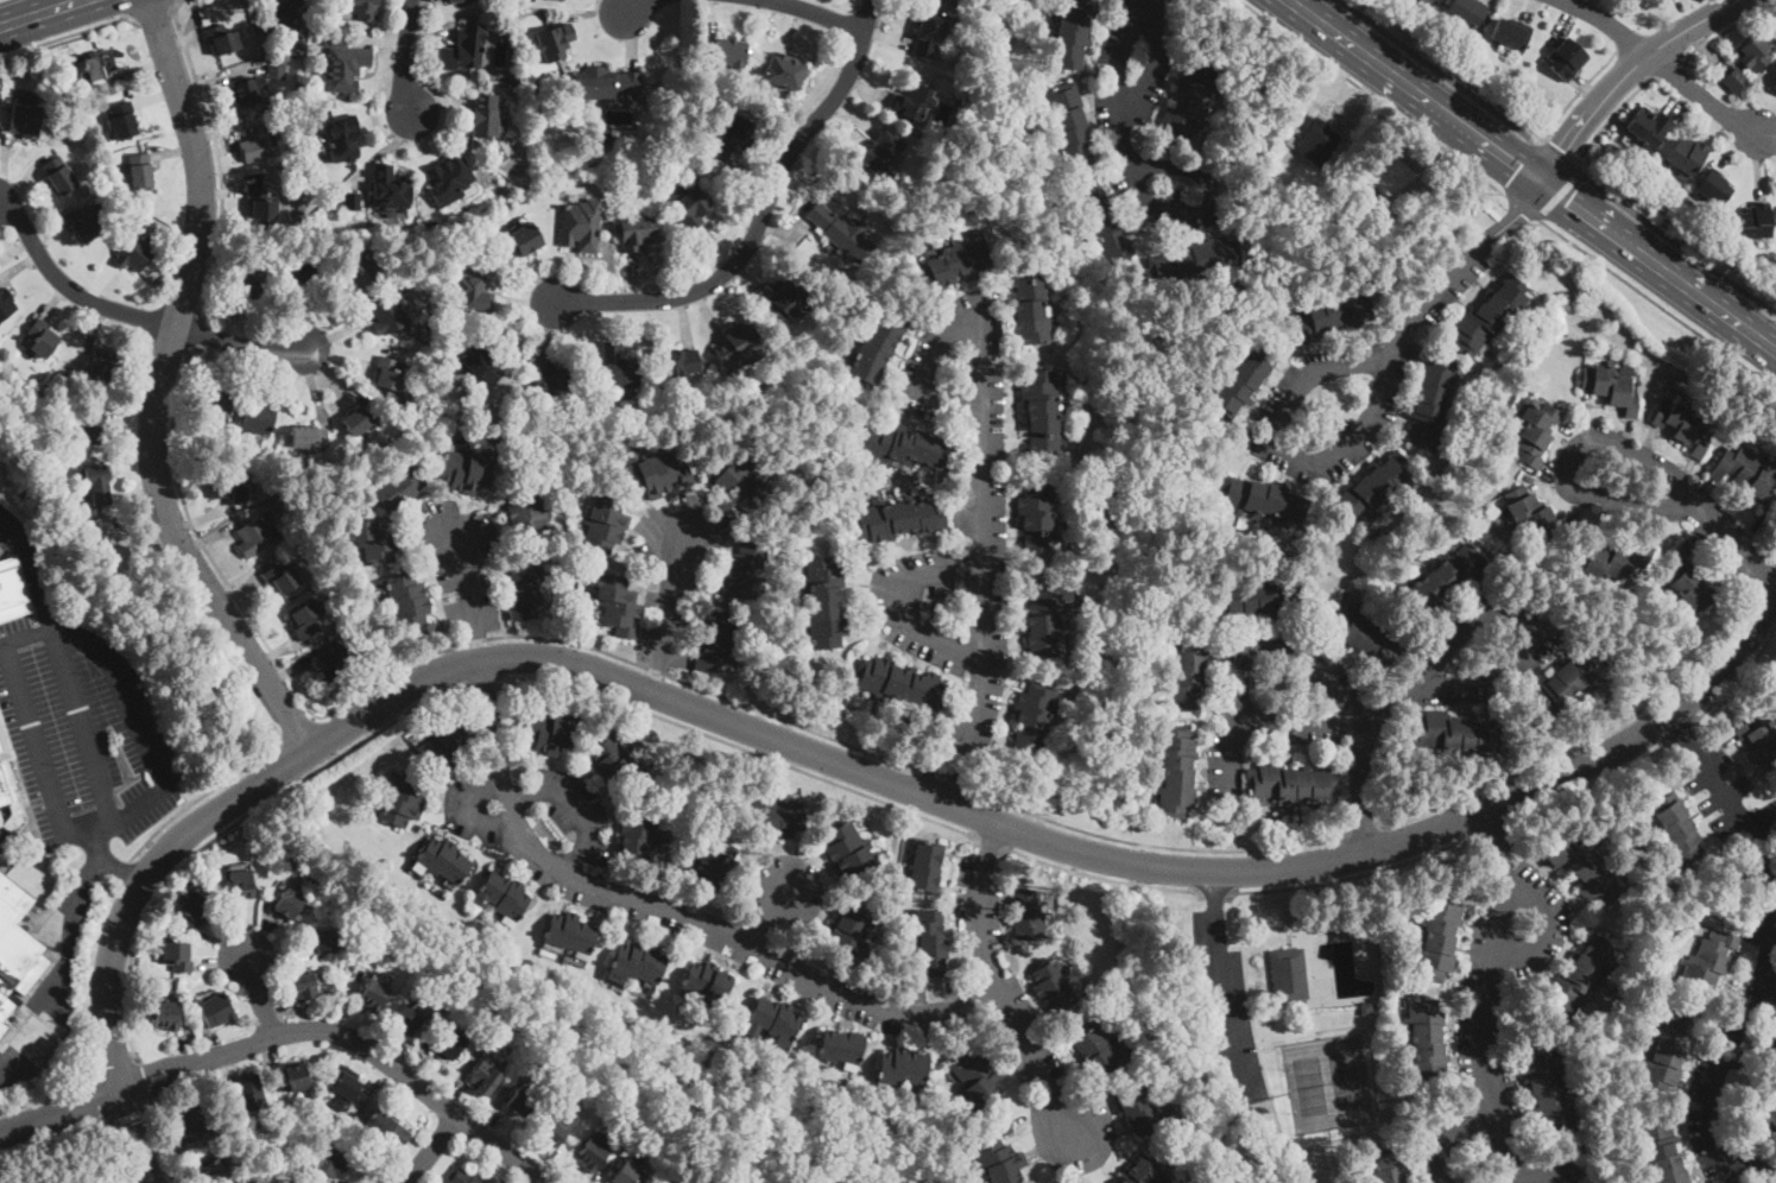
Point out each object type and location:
building: (561, 0)
building: (562, 0)
building: (1418, 0)
building: (293, 1)
building: (457, 1)
building: (1428, 1)
road: (839, 4)
road: (854, 4)
road: (636, 6)
road: (29, 7)
building: (362, 8)
road: (37, 12)
road: (819, 13)
building: (1466, 13)
road: (152, 14)
building: (277, 17)
road: (847, 24)
road: (1606, 24)
road: (1726, 26)
building: (929, 32)
building: (1073, 32)
road: (68, 33)
building: (1511, 33)
building: (222, 38)
building: (554, 39)
building: (302, 40)
building: (463, 49)
building: (722, 52)
building: (1753, 53)
road: (405, 57)
building: (1566, 59)
building: (101, 64)
building: (343, 64)
road: (1667, 67)
building: (782, 71)
road: (1440, 71)
road: (1624, 72)
building: (511, 78)
building: (1736, 80)
building: (605, 83)
building: (1774, 88)
building: (245, 94)
road: (1575, 94)
road: (1373, 95)
road: (1701, 96)
building: (912, 100)
building: (1190, 102)
building: (290, 118)
building: (486, 118)
building: (122, 119)
building: (26, 120)
road: (1605, 122)
building: (1069, 126)
building: (1649, 127)
building: (602, 128)
road: (1124, 129)
building: (343, 138)
building: (735, 138)
building: (1315, 139)
building: (520, 145)
building: (261, 146)
road: (1556, 153)
building: (881, 154)
road: (216, 156)
building: (1686, 157)
building: (1636, 163)
road: (1523, 167)
building: (139, 171)
road: (1531, 175)
building: (58, 176)
building: (613, 178)
building: (449, 181)
traffic signals: (1540, 181)
building: (678, 182)
building: (391, 188)
building: (1713, 188)
road: (1557, 196)
building: (1365, 197)
building: (352, 201)
building: (263, 204)
building: (1301, 204)
road: (1523, 205)
building: (689, 208)
road: (747, 209)
road: (761, 214)
building: (1382, 219)
road: (1510, 219)
building: (1756, 221)
building: (87, 222)
building: (1102, 222)
building: (581, 224)
building: (431, 227)
building: (637, 232)
building: (841, 232)
building: (518, 241)
road: (1676, 241)
building: (134, 253)
building: (1194, 260)
building: (955, 262)
building: (301, 270)
building: (361, 272)
building: (253, 281)
building: (473, 292)
building: (788, 301)
building: (6, 303)
road: (1656, 304)
building: (1031, 311)
road: (132, 314)
building: (388, 316)
building: (1490, 316)
building: (1329, 317)
road: (200, 334)
building: (42, 340)
building: (739, 344)
building: (877, 350)
building: (102, 362)
building: (676, 362)
building: (479, 363)
road: (925, 366)
building: (618, 367)
building: (390, 373)
building: (550, 379)
building: (1243, 380)
building: (1610, 387)
road: (157, 388)
building: (396, 399)
building: (1431, 401)
building: (217, 409)
building: (1043, 411)
building: (533, 418)
building: (259, 420)
building: (360, 420)
building: (1683, 425)
building: (91, 430)
building: (1537, 432)
building: (309, 437)
road: (1345, 445)
building: (906, 448)
building: (467, 470)
building: (655, 474)
building: (1747, 475)
building: (741, 480)
building: (97, 485)
building: (1373, 486)
building: (229, 488)
building: (399, 488)
building: (1264, 501)
building: (270, 504)
road: (1692, 505)
building: (1532, 513)
building: (529, 515)
building: (1037, 517)
building: (896, 519)
building: (605, 525)
building: (254, 537)
road: (202, 542)
building: (373, 542)
road: (1775, 553)
road: (984, 555)
building: (1611, 563)
building: (746, 567)
road: (30, 569)
road: (1763, 574)
building: (282, 578)
building: (1447, 578)
building: (1688, 582)
building: (524, 588)
building: (12, 589)
road: (467, 594)
building: (1263, 599)
building: (824, 603)
building: (409, 605)
building: (618, 605)
road: (668, 606)
road: (902, 611)
building: (305, 620)
building: (1044, 622)
building: (1361, 633)
building: (716, 640)
road: (1247, 649)
road: (614, 653)
road: (1519, 657)
building: (334, 660)
building: (1188, 670)
building: (358, 673)
road: (1737, 676)
road: (487, 678)
building: (900, 683)
building: (1568, 684)
building: (1034, 715)
road: (1374, 717)
road: (137, 720)
road: (1303, 720)
road: (26, 725)
road: (296, 725)
road: (1681, 729)
building: (550, 732)
road: (87, 733)
building: (1454, 733)
parking lot: (82, 734)
road: (1586, 736)
building: (1759, 741)
road: (745, 747)
building: (443, 748)
building: (614, 760)
building: (1175, 771)
road: (938, 779)
road: (1589, 782)
building: (1289, 783)
building: (8, 784)
road: (201, 793)
building: (402, 801)
road: (577, 803)
building: (777, 816)
road: (232, 822)
road: (1762, 823)
road: (1491, 824)
road: (1364, 830)
building: (1676, 831)
building: (639, 837)
road: (990, 842)
road: (1149, 843)
road: (1060, 844)
building: (848, 850)
road: (162, 855)
road: (103, 861)
building: (442, 861)
building: (715, 865)
building: (924, 867)
building: (1582, 868)
road: (1102, 875)
road: (1354, 875)
road: (143, 880)
building: (241, 885)
road: (1212, 892)
building: (505, 898)
building: (289, 904)
building: (194, 907)
road: (671, 912)
road: (766, 912)
building: (1026, 915)
building: (571, 934)
building: (846, 935)
building: (1439, 936)
building: (326, 940)
building: (929, 942)
building: (15, 948)
building: (178, 955)
road: (1759, 956)
building: (1708, 961)
building: (639, 962)
road: (56, 964)
building: (1579, 974)
building: (1289, 975)
building: (707, 982)
road: (1222, 983)
road: (999, 985)
building: (1053, 986)
building: (303, 987)
road: (1502, 992)
building: (374, 994)
road: (258, 995)
building: (1366, 1008)
building: (216, 1011)
building: (168, 1016)
building: (776, 1020)
building: (405, 1021)
building: (2, 1029)
road: (352, 1037)
building: (447, 1044)
building: (1426, 1044)
building: (1769, 1046)
building: (841, 1049)
building: (1666, 1052)
building: (1098, 1054)
building: (902, 1068)
building: (291, 1076)
road: (141, 1078)
building: (485, 1078)
building: (977, 1078)
park: (1347, 1078)
building: (345, 1081)
park: (1307, 1084)
building: (1230, 1086)
building: (1546, 1089)
building: (249, 1094)
building: (520, 1101)
road: (61, 1108)
building: (1137, 1108)
building: (1759, 1116)
road: (126, 1118)
building: (192, 1126)
building: (387, 1127)
building: (552, 1130)
road: (55, 1135)
road: (133, 1135)
road: (157, 1143)
road: (431, 1150)
building: (1660, 1150)
building: (592, 1152)
building: (998, 1157)
building: (330, 1159)
building: (1386, 1164)
building: (214, 1171)
building: (1142, 1172)
building: (626, 1173)
building: (470, 1177)
building: (1037, 1182)
building: (1589, 1182)

